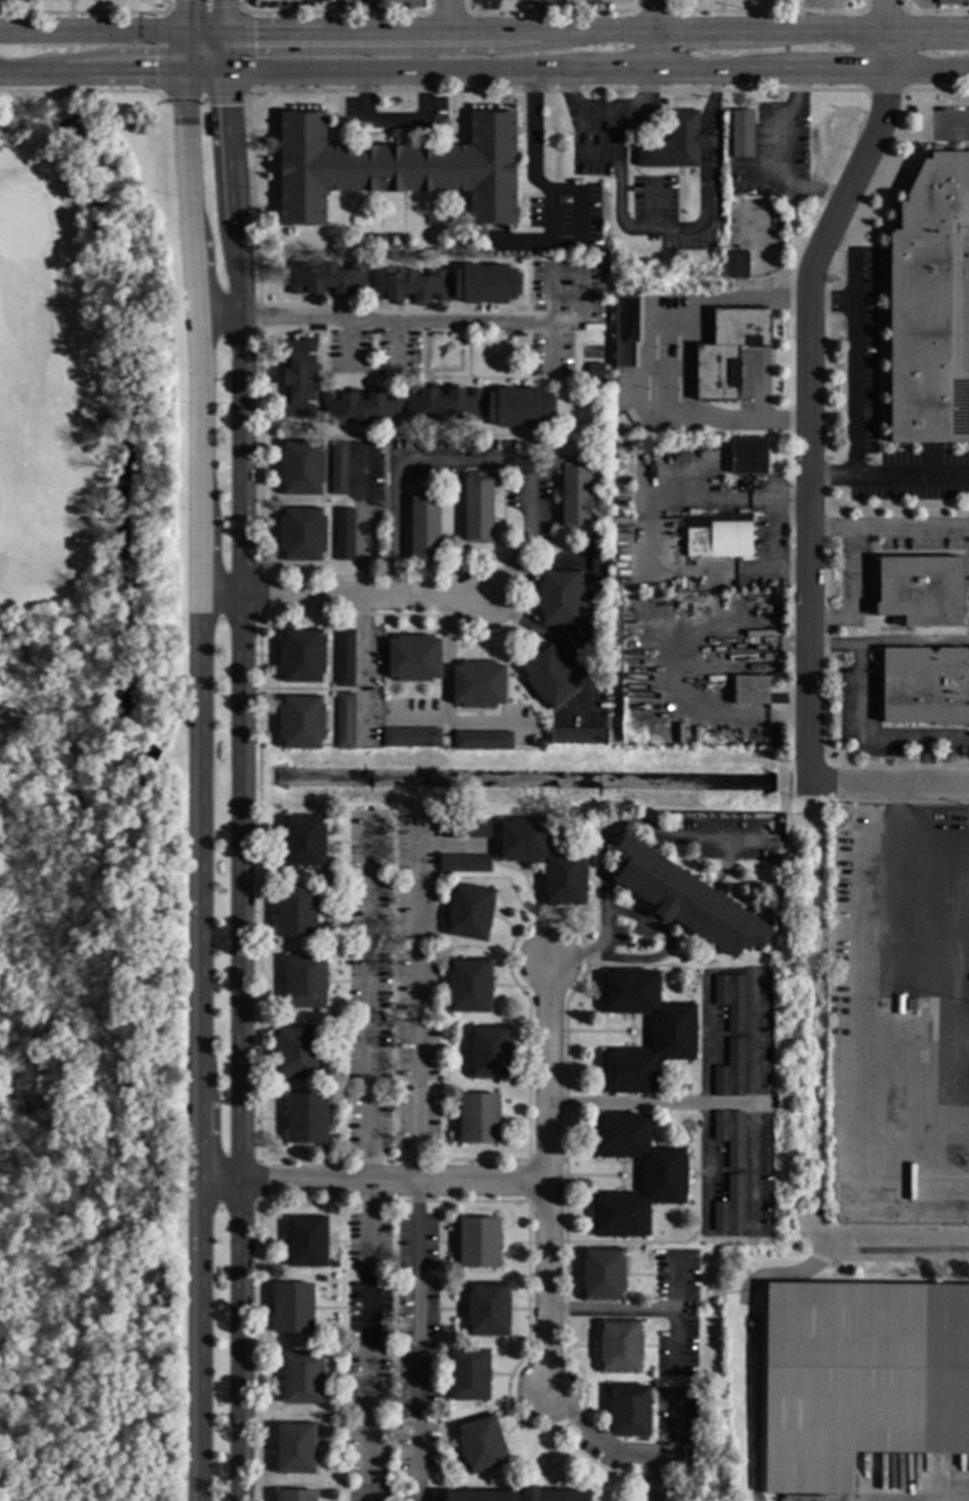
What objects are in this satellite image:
traffic signals: (186, 0)
building: (951, 2)
power substation: (286, 3)
road: (655, 16)
road: (446, 17)
road: (885, 17)
road: (186, 18)
road: (222, 18)
road: (597, 33)
road: (703, 33)
road: (817, 34)
road: (927, 34)
road: (92, 35)
traffic signals: (254, 35)
road: (380, 35)
traffic signals: (186, 36)
road: (205, 36)
traffic signals: (224, 36)
road: (656, 52)
road: (884, 53)
road: (224, 55)
road: (185, 56)
road: (720, 71)
road: (834, 71)
road: (926, 71)
road: (612, 72)
road: (396, 74)
road: (205, 75)
traffic signals: (225, 75)
road: (34, 76)
road: (126, 76)
traffic signals: (154, 76)
traffic signals: (185, 76)
road: (712, 100)
traffic signals: (226, 106)
road: (606, 109)
road: (961, 118)
road: (394, 121)
building: (393, 134)
building: (741, 134)
road: (704, 140)
building: (673, 144)
road: (228, 150)
road: (190, 160)
building: (397, 168)
road: (704, 183)
road: (570, 188)
road: (619, 211)
building: (737, 265)
road: (235, 270)
road: (197, 280)
building: (407, 284)
building: (930, 305)
road: (393, 318)
building: (742, 332)
building: (627, 349)
road: (687, 361)
building: (595, 371)
road: (858, 388)
building: (405, 399)
road: (813, 418)
building: (446, 445)
building: (623, 451)
building: (750, 456)
road: (467, 461)
building: (301, 468)
building: (338, 469)
road: (913, 474)
building: (575, 493)
road: (781, 502)
building: (479, 508)
road: (359, 521)
road: (650, 525)
building: (423, 526)
building: (302, 534)
building: (344, 535)
road: (773, 536)
building: (718, 537)
building: (598, 558)
road: (773, 570)
road: (853, 572)
road: (532, 575)
building: (615, 588)
building: (921, 590)
building: (560, 597)
road: (345, 598)
building: (598, 638)
road: (889, 644)
road: (444, 649)
road: (569, 651)
building: (301, 656)
building: (344, 658)
building: (413, 658)
road: (361, 671)
building: (551, 677)
building: (478, 685)
building: (926, 686)
building: (751, 690)
building: (345, 721)
road: (456, 721)
building: (301, 723)
building: (578, 736)
road: (869, 737)
building: (411, 738)
building: (483, 741)
building: (540, 744)
road: (926, 759)
road: (889, 781)
park: (91, 798)
road: (894, 821)
building: (465, 829)
building: (304, 842)
road: (607, 843)
building: (543, 860)
road: (931, 861)
building: (464, 863)
building: (687, 900)
road: (199, 907)
road: (238, 907)
building: (296, 912)
building: (470, 912)
road: (666, 948)
road: (729, 971)
building: (305, 983)
building: (469, 985)
building: (731, 1000)
building: (911, 1005)
building: (673, 1032)
road: (868, 1041)
building: (490, 1052)
building: (296, 1053)
building: (730, 1072)
building: (444, 1081)
building: (445, 1098)
road: (657, 1101)
building: (307, 1119)
building: (479, 1119)
building: (730, 1136)
road: (368, 1160)
road: (415, 1160)
building: (664, 1176)
road: (546, 1177)
road: (372, 1181)
building: (730, 1207)
road: (814, 1234)
road: (729, 1235)
building: (306, 1242)
building: (479, 1243)
road: (901, 1246)
building: (335, 1264)
building: (603, 1274)
building: (401, 1275)
building: (322, 1278)
building: (293, 1308)
building: (488, 1309)
road: (612, 1314)
road: (677, 1315)
building: (400, 1347)
building: (620, 1347)
building: (345, 1348)
building: (469, 1375)
building: (302, 1378)
building: (861, 1379)
building: (629, 1411)
building: (402, 1415)
building: (481, 1444)
road: (615, 1444)
building: (295, 1448)
building: (383, 1482)
building: (517, 1495)
building: (296, 1496)

